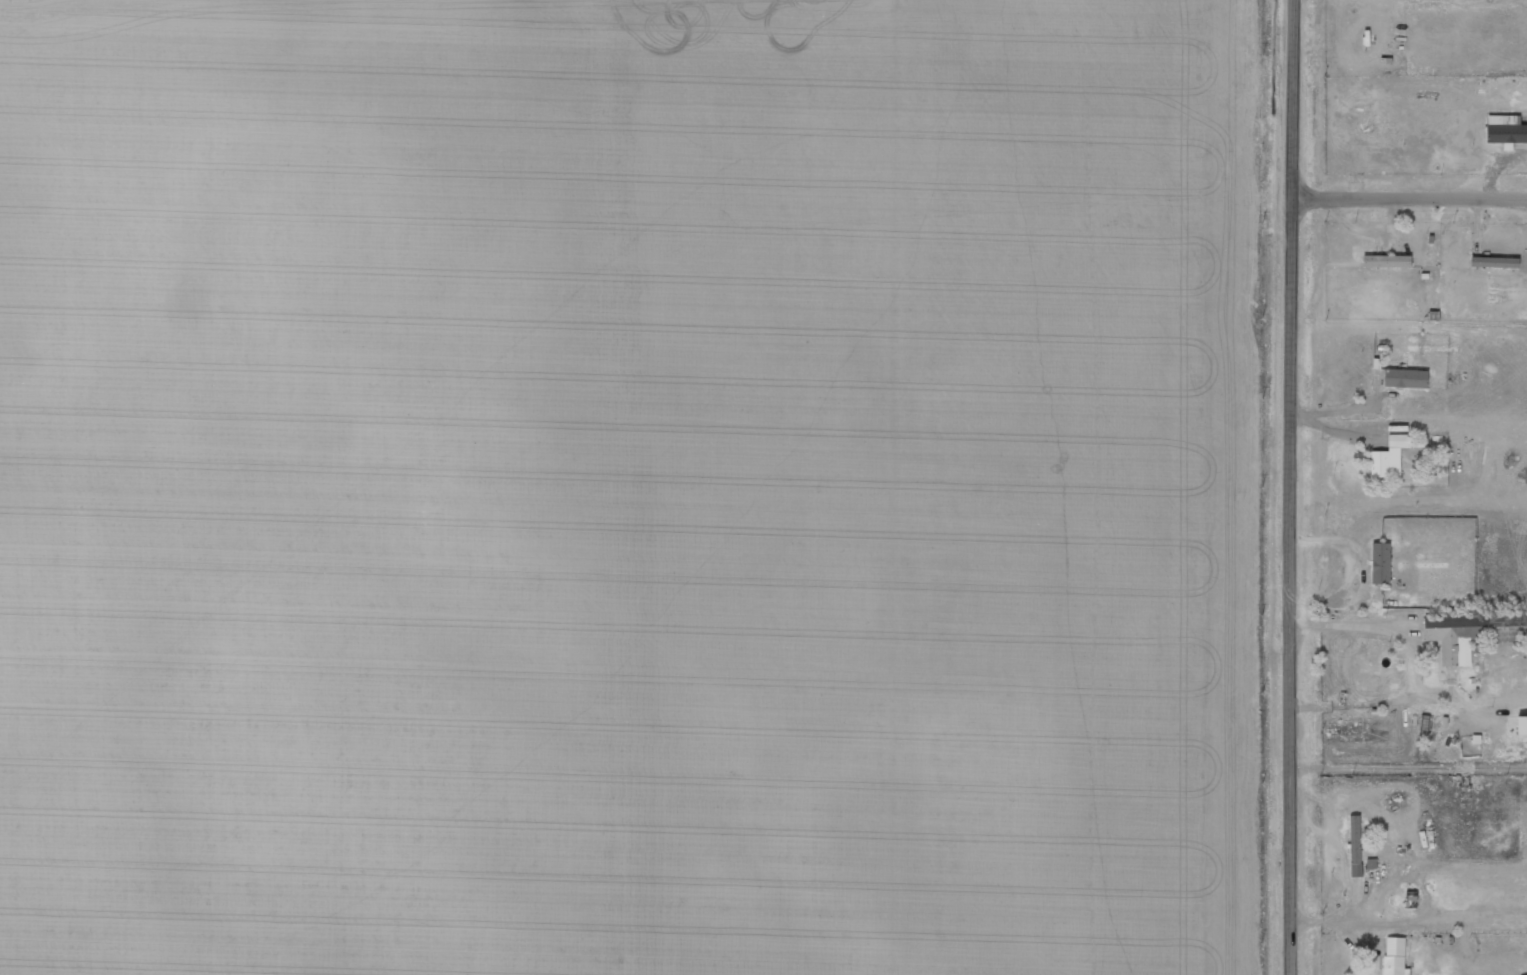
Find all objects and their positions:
building: (1505, 130)
road: (1411, 193)
building: (1386, 261)
building: (1494, 262)
building: (1405, 378)
building: (1399, 440)
building: (1379, 464)
road: (1294, 487)
building: (1380, 563)
building: (1502, 632)
building: (1455, 635)
building: (1450, 675)
building: (1521, 725)
building: (1355, 846)
building: (1394, 956)

